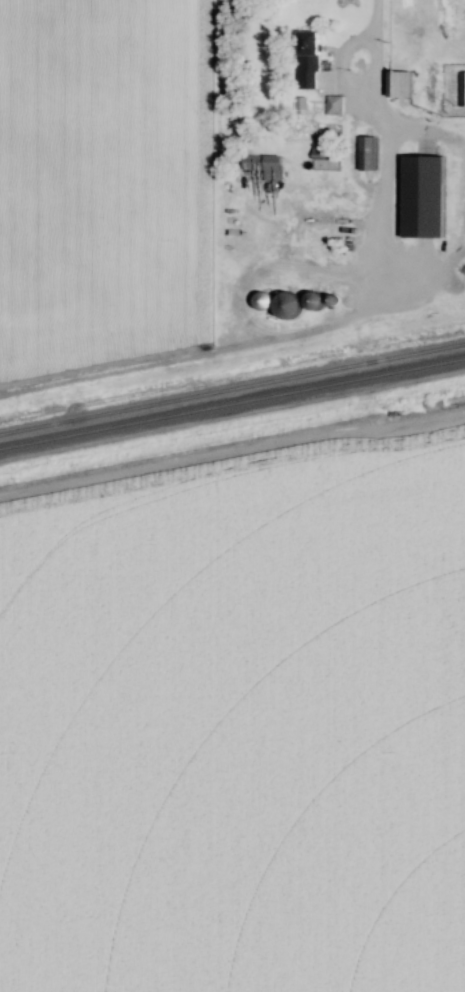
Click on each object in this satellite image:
building: (309, 60)
building: (399, 84)
building: (462, 89)
building: (335, 105)
building: (326, 153)
building: (368, 153)
building: (264, 166)
crop: (100, 181)
building: (424, 197)
building: (326, 199)
building: (287, 307)
road: (331, 320)
railway: (232, 388)
railway: (232, 399)
building: (433, 407)

